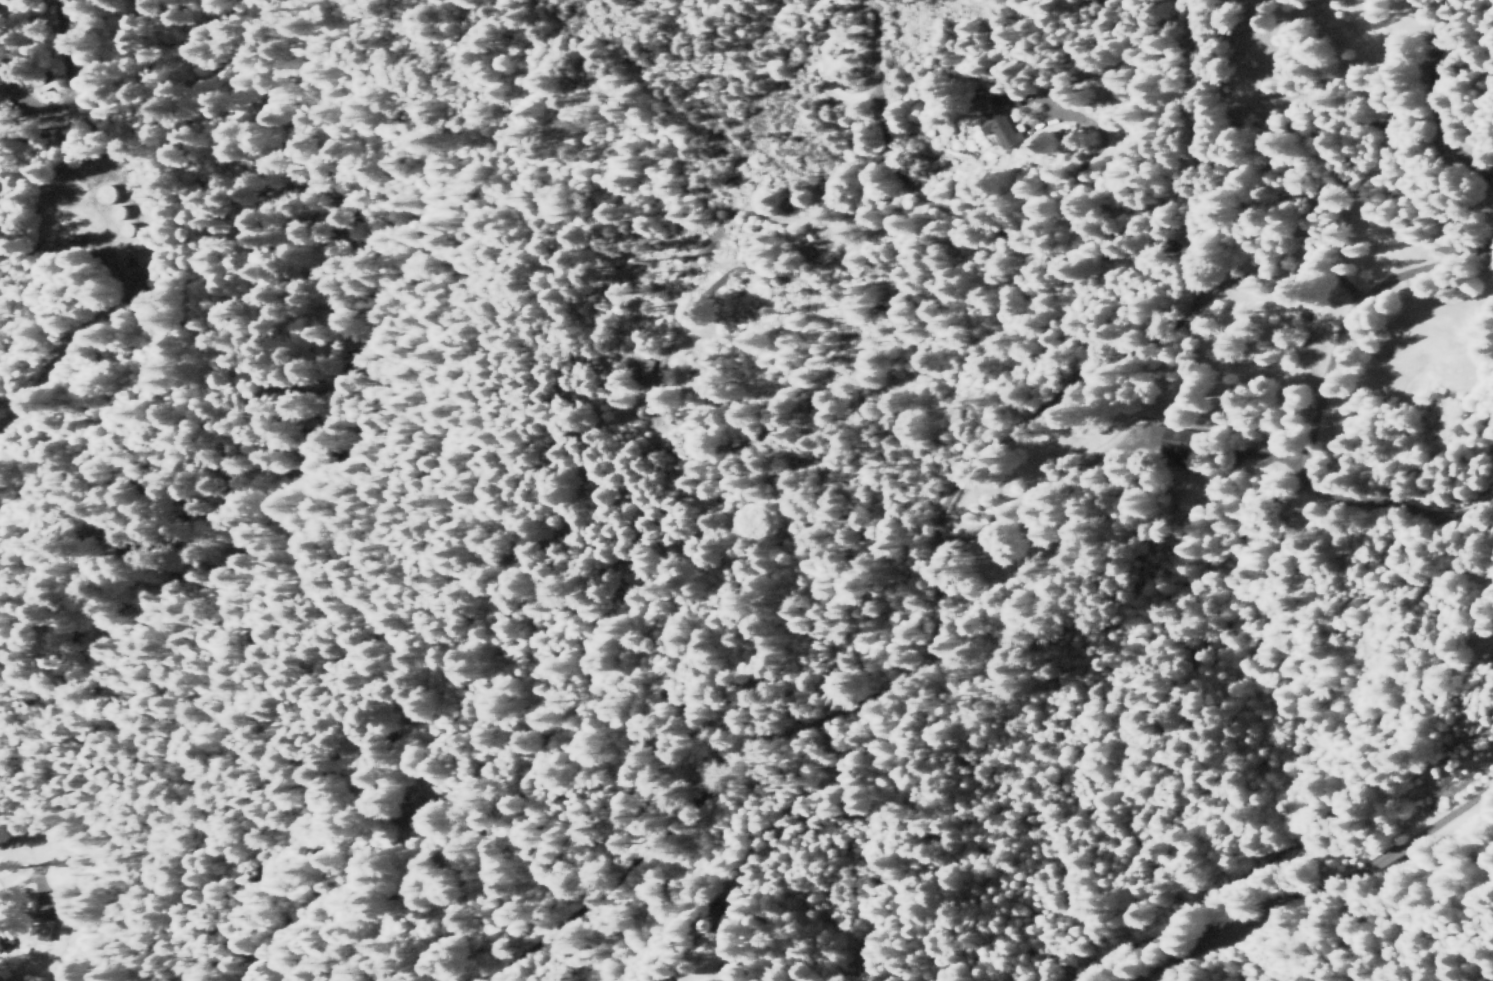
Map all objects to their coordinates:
building: (1000, 129)
building: (108, 193)
building: (129, 229)
road: (89, 335)
building: (1172, 439)
road: (899, 522)

